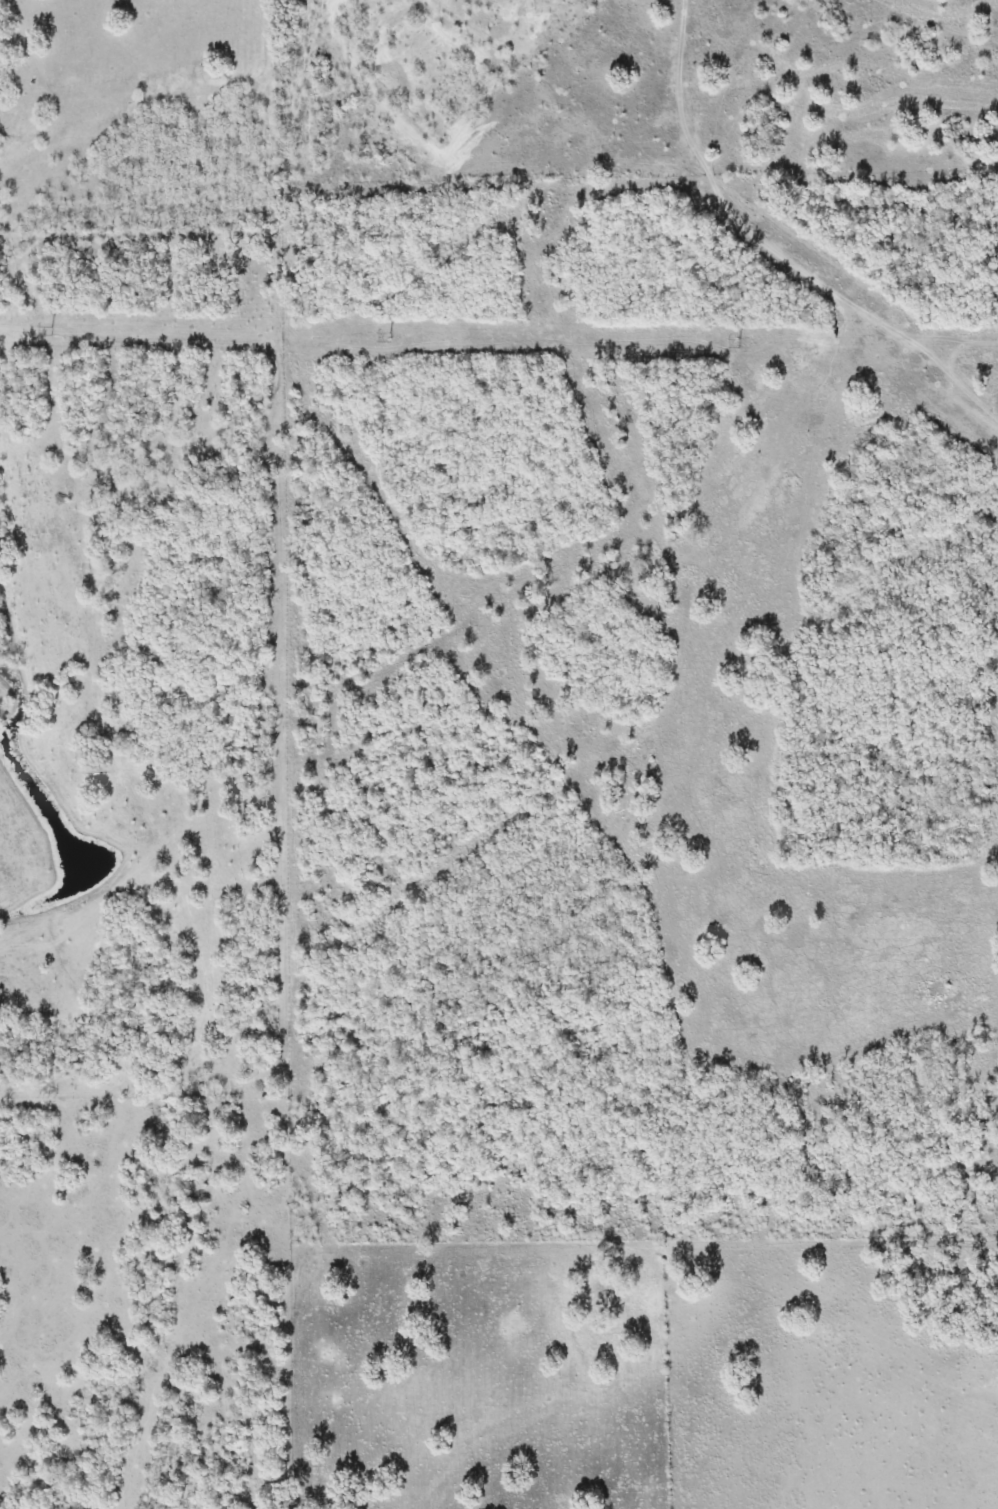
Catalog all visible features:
power tower: (52, 323)
power tower: (392, 331)
power tower: (739, 339)

